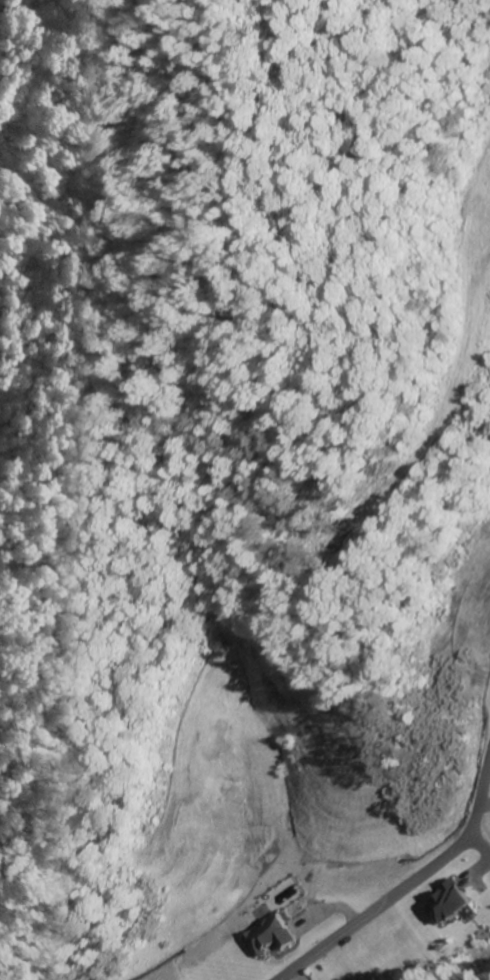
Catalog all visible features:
road: (475, 799)
road: (385, 902)
building: (446, 903)
building: (270, 934)

